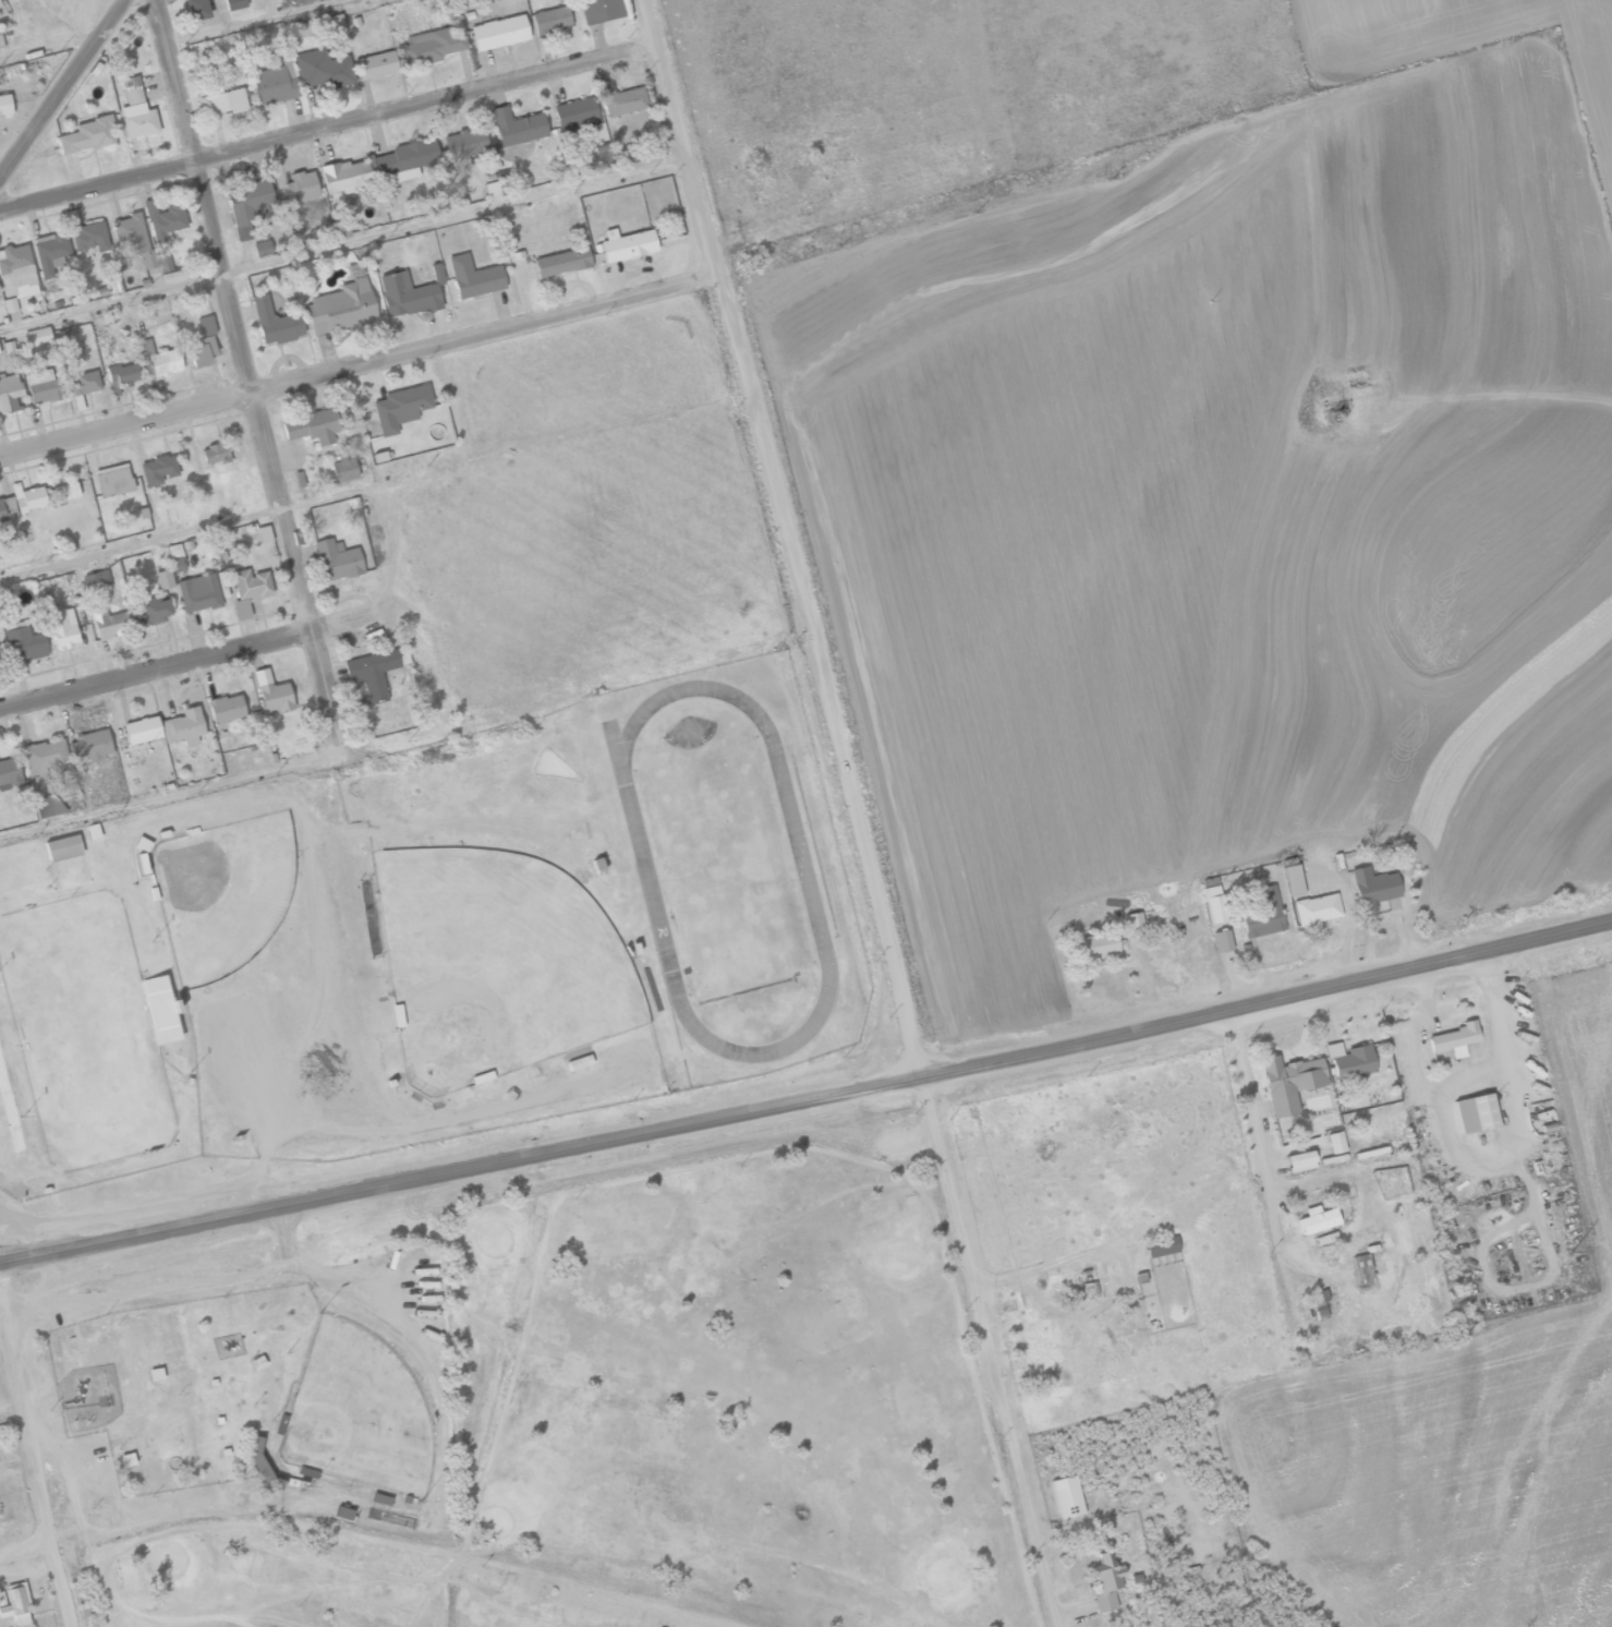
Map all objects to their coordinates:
building: (234, 3)
building: (195, 9)
building: (601, 10)
building: (552, 20)
road: (249, 21)
building: (336, 24)
building: (498, 32)
road: (49, 44)
building: (435, 44)
building: (376, 65)
building: (324, 69)
building: (276, 83)
road: (60, 84)
building: (621, 99)
building: (227, 101)
building: (4, 104)
building: (136, 111)
building: (577, 113)
road: (327, 125)
building: (517, 126)
building: (88, 135)
building: (464, 143)
building: (405, 159)
building: (344, 176)
building: (301, 186)
building: (246, 207)
building: (165, 220)
building: (130, 234)
building: (89, 237)
road: (341, 242)
building: (626, 244)
building: (262, 249)
building: (50, 252)
building: (561, 262)
building: (161, 266)
building: (16, 272)
building: (437, 274)
building: (474, 277)
building: (405, 294)
building: (10, 304)
building: (341, 306)
building: (274, 322)
building: (205, 325)
building: (36, 336)
building: (10, 348)
building: (199, 351)
building: (157, 360)
road: (242, 362)
road: (359, 369)
road: (1492, 375)
building: (121, 376)
building: (83, 385)
building: (43, 386)
building: (10, 393)
building: (400, 407)
building: (313, 425)
building: (214, 454)
building: (342, 469)
building: (157, 470)
building: (113, 480)
building: (65, 491)
building: (27, 497)
building: (7, 507)
road: (252, 516)
building: (264, 534)
road: (784, 537)
building: (175, 557)
building: (336, 559)
building: (163, 579)
building: (96, 580)
building: (250, 590)
building: (198, 593)
building: (47, 605)
building: (154, 610)
building: (61, 628)
building: (23, 642)
road: (185, 663)
building: (372, 673)
building: (270, 692)
building: (226, 708)
building: (183, 726)
building: (141, 730)
building: (88, 746)
building: (44, 756)
building: (9, 772)
road: (180, 795)
building: (44, 800)
building: (93, 831)
building: (62, 848)
track: (803, 868)
building: (1293, 879)
building: (1372, 885)
park: (225, 892)
building: (1214, 900)
building: (1317, 908)
building: (1262, 914)
building: (1134, 923)
building: (1222, 940)
building: (1096, 945)
park: (497, 964)
building: (159, 1010)
park: (80, 1024)
stadium: (83, 1028)
building: (1454, 1039)
building: (1349, 1060)
building: (579, 1062)
building: (1289, 1082)
road: (807, 1097)
building: (1475, 1112)
building: (1335, 1142)
building: (1300, 1160)
building: (1318, 1219)
building: (1325, 1238)
power tower: (1571, 1243)
building: (1162, 1246)
building: (1362, 1269)
building: (1320, 1303)
building: (1033, 1342)
road: (992, 1350)
park: (546, 1402)
road: (9, 1409)
road: (34, 1479)
building: (1067, 1496)
road: (25, 1548)
building: (1105, 1581)
building: (16, 1603)

